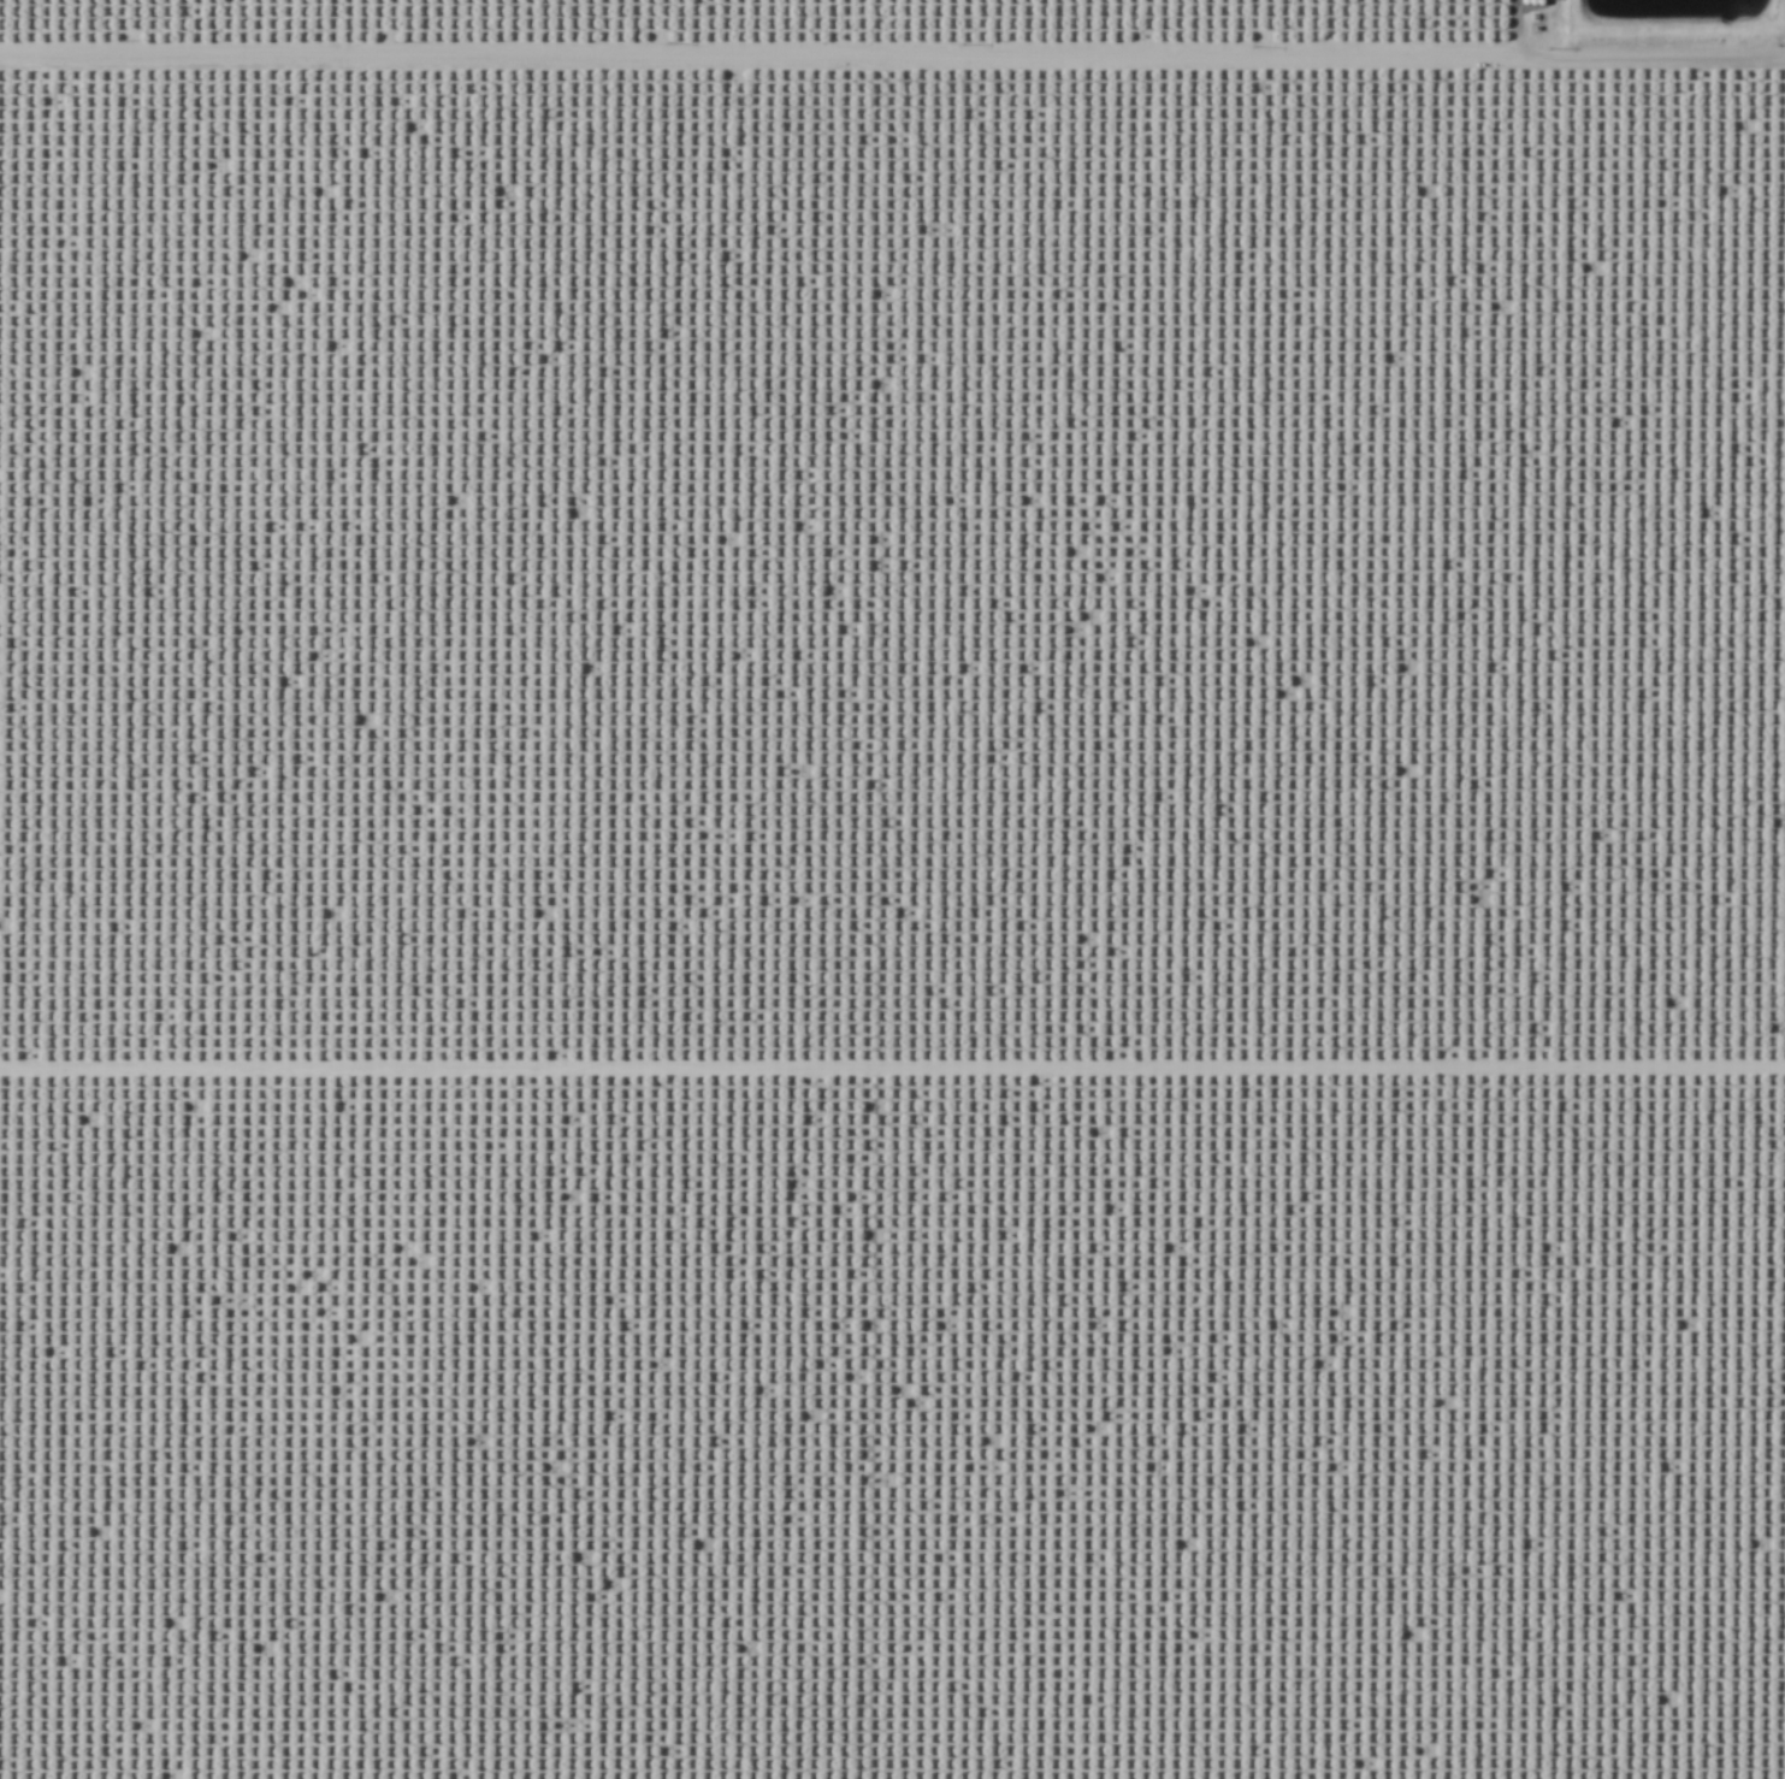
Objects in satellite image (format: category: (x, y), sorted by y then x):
wastewater plant: (1665, 6)
road: (892, 35)

